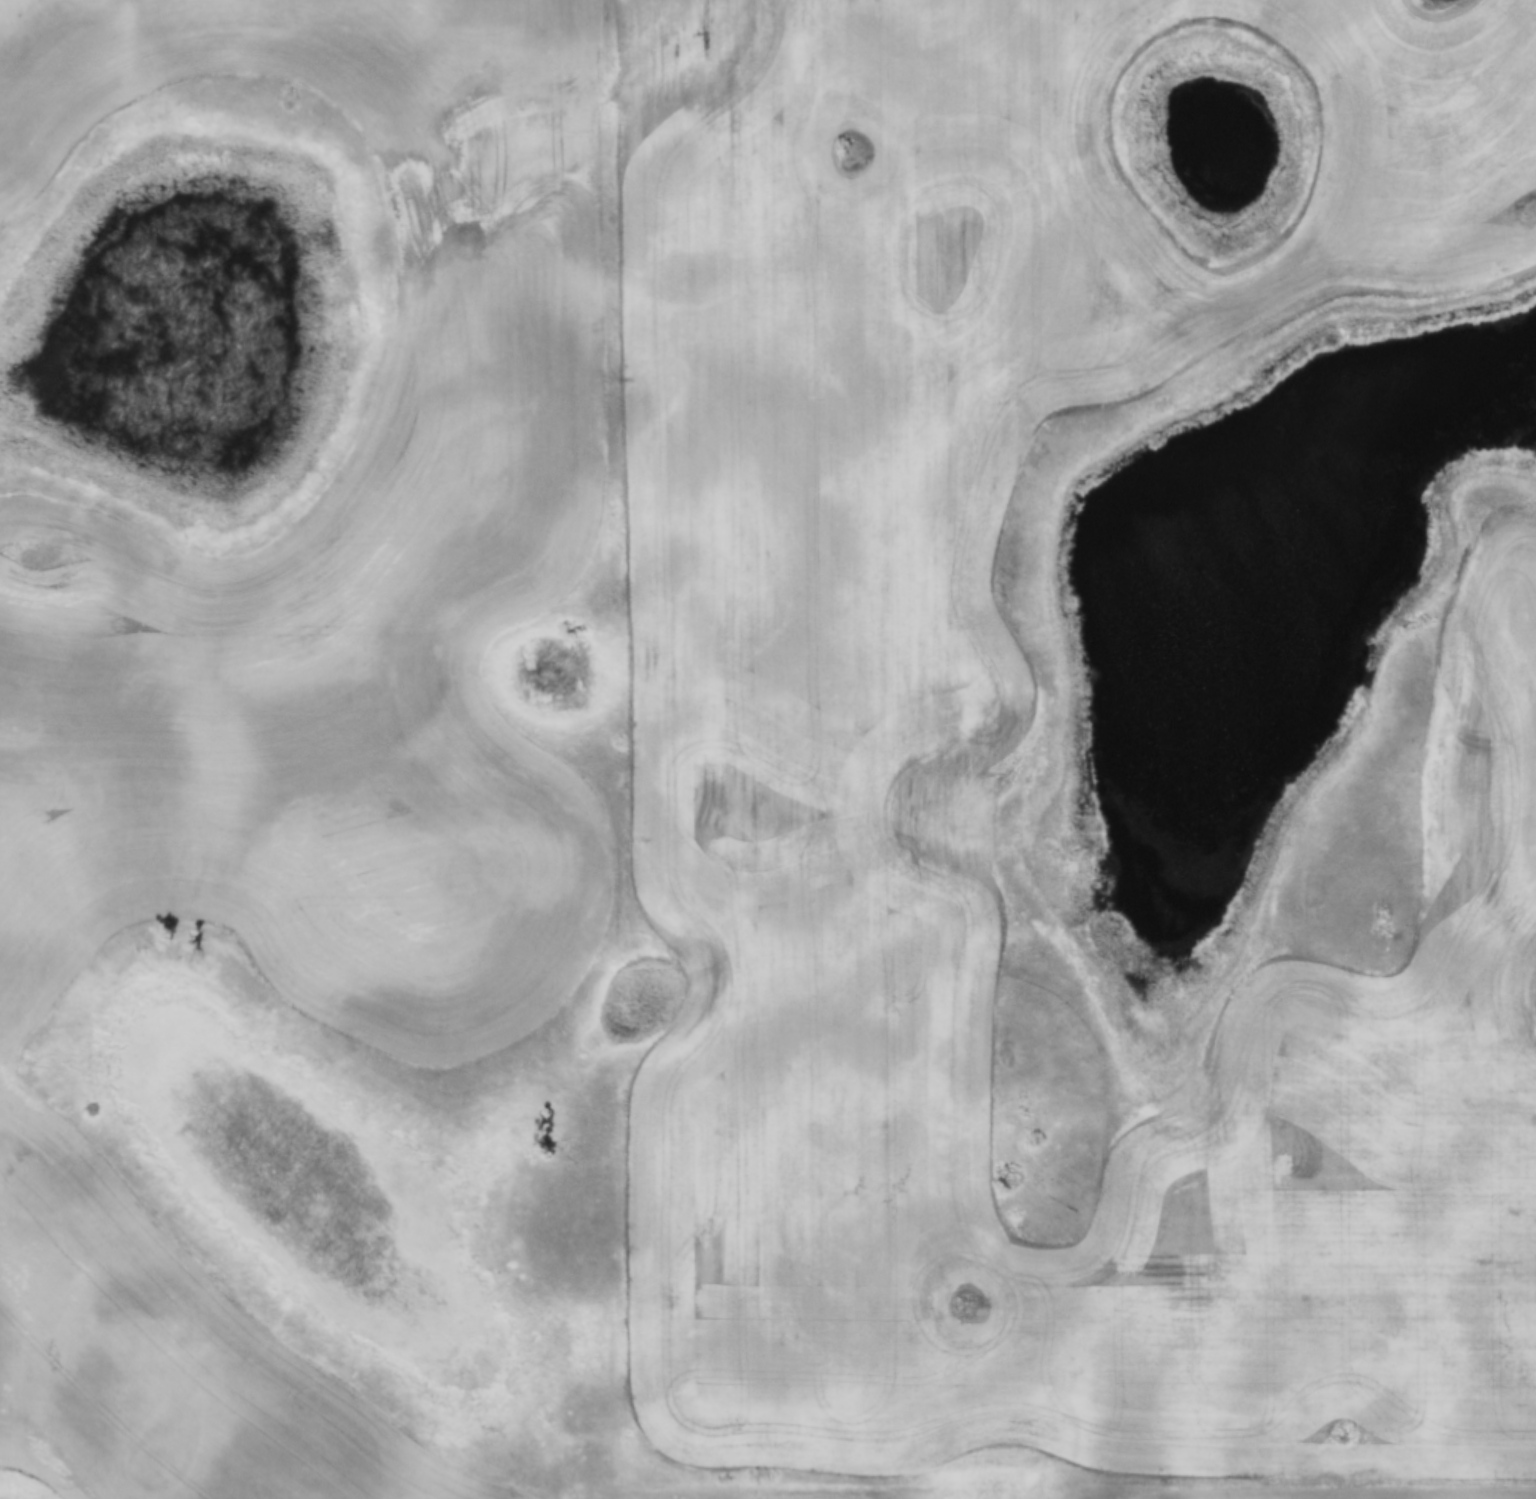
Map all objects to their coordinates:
building: (610, 516)

